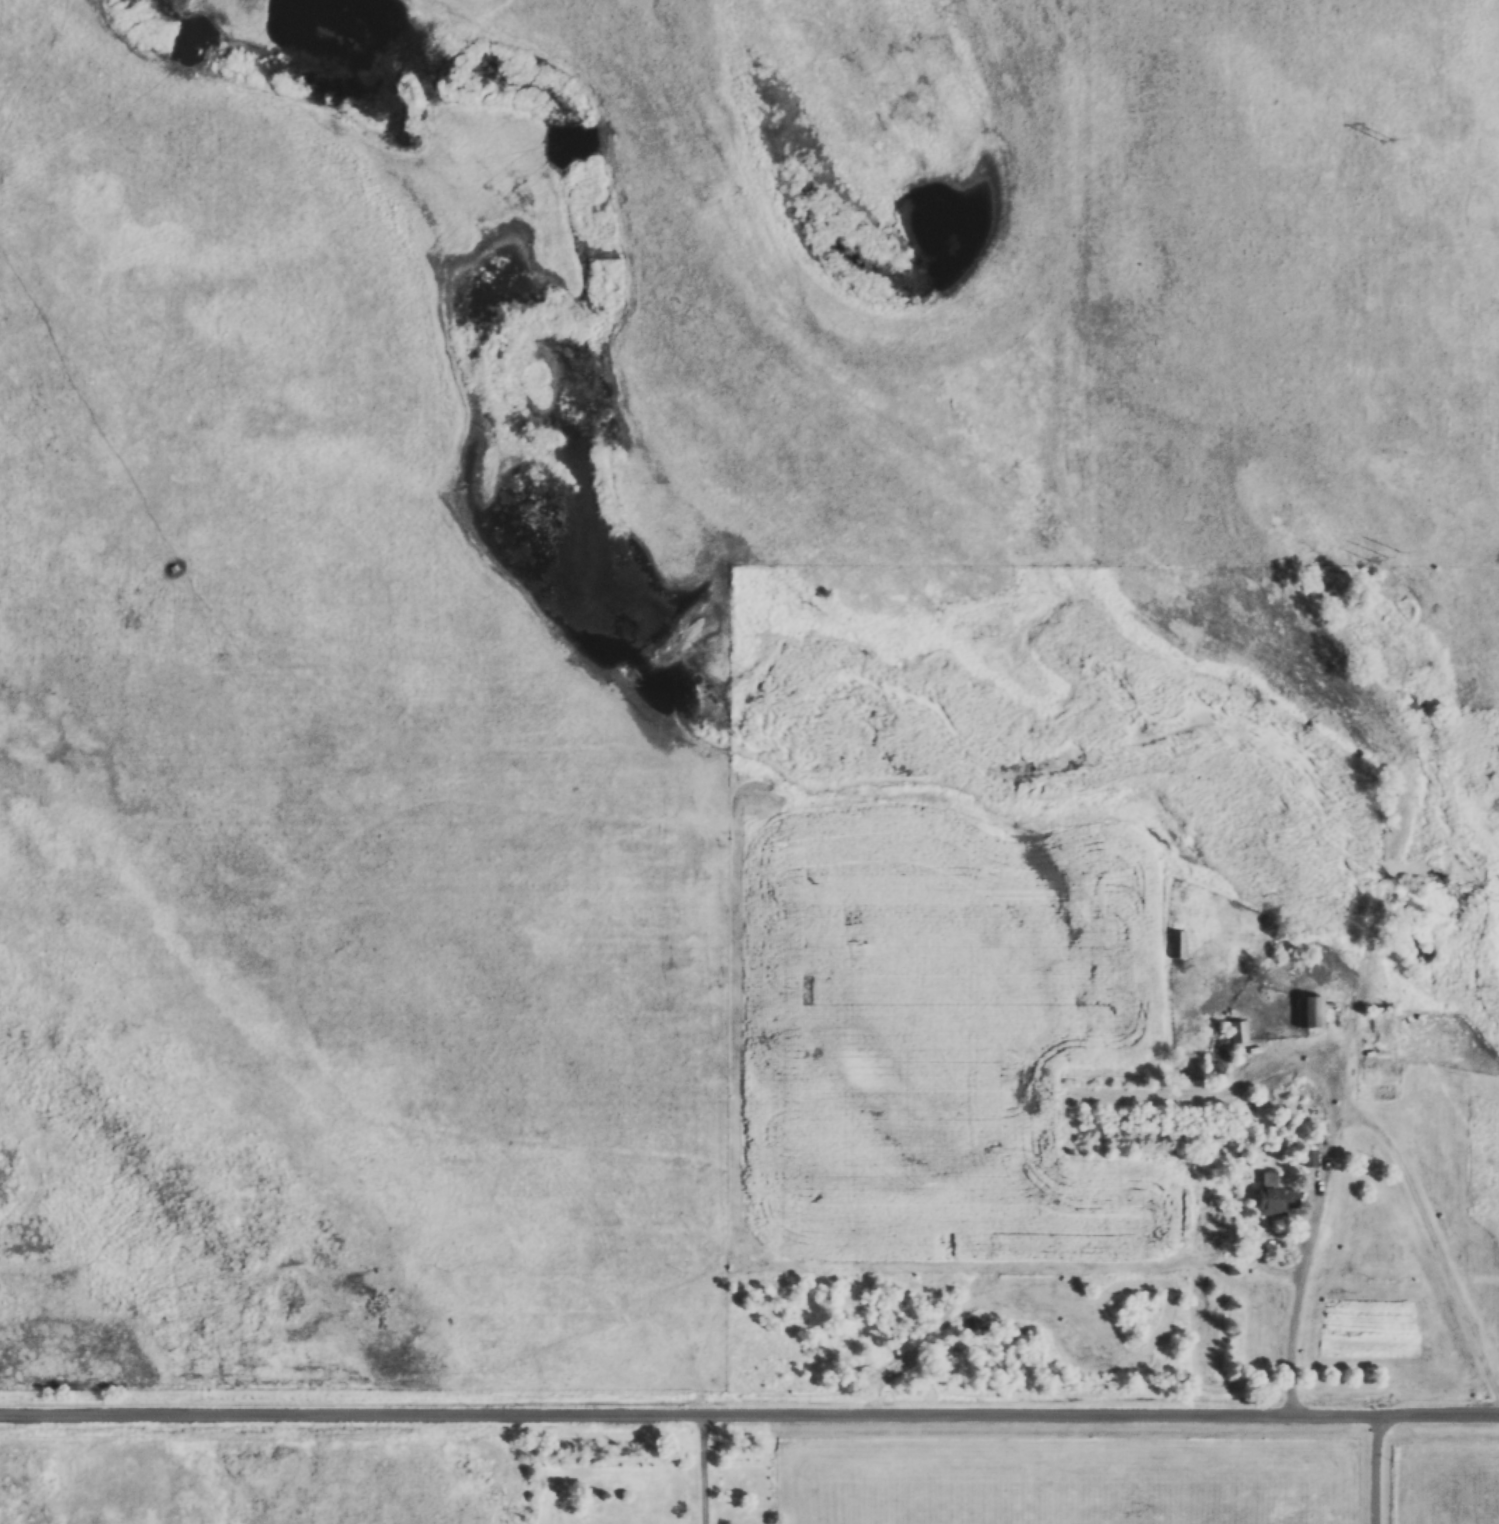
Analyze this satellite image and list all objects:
power tower: (1385, 140)
power tower: (1383, 556)
power tower: (1496, 899)
building: (1174, 944)
building: (1311, 1012)
building: (1235, 1031)
road: (1356, 1124)
building: (1307, 1157)
building: (1272, 1199)
road: (749, 1418)
road: (1375, 1470)
road: (704, 1471)

